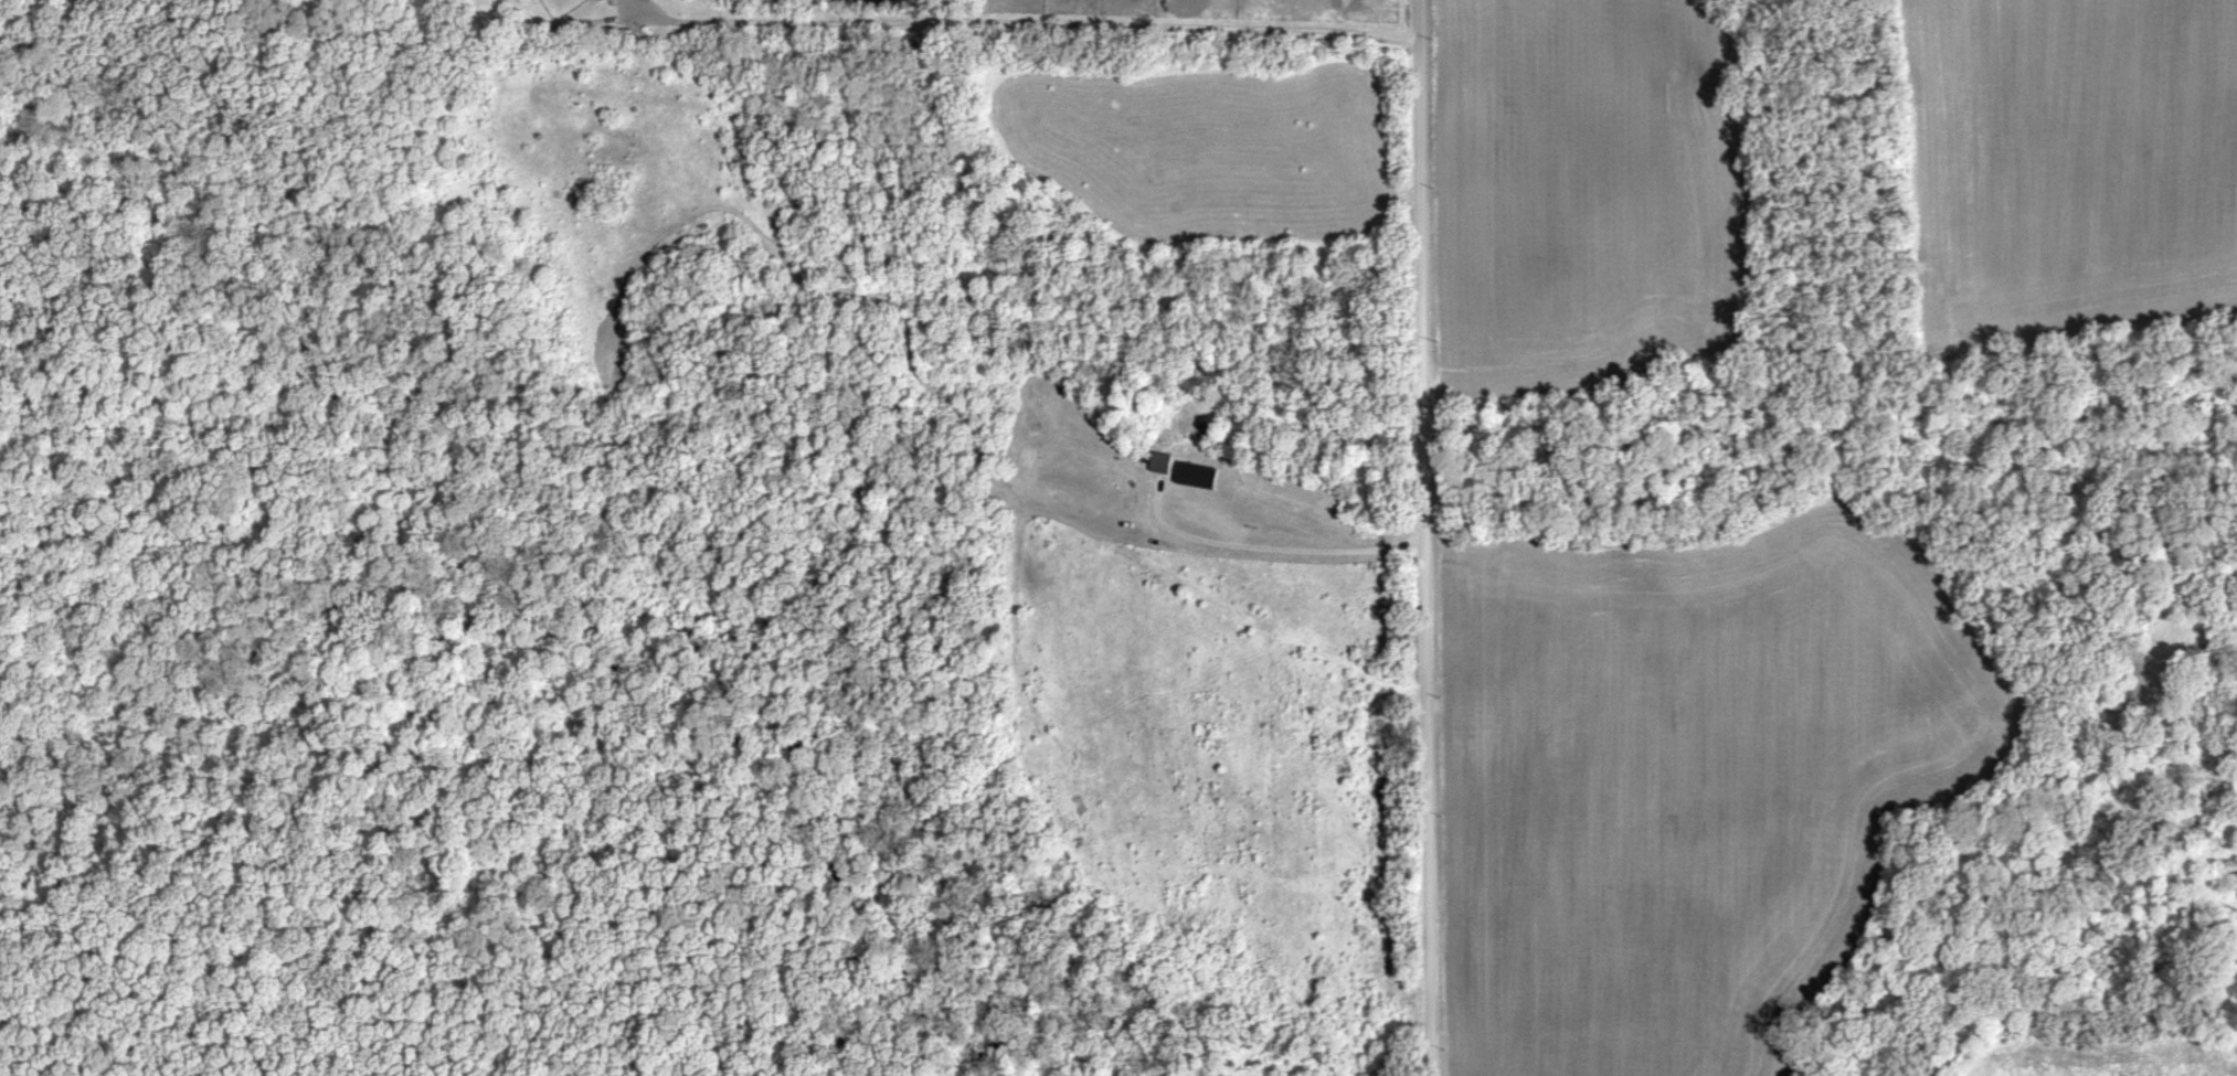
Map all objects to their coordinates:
road: (1019, 23)
building: (1165, 464)
building: (1200, 477)
road: (1272, 535)
road: (1416, 537)

